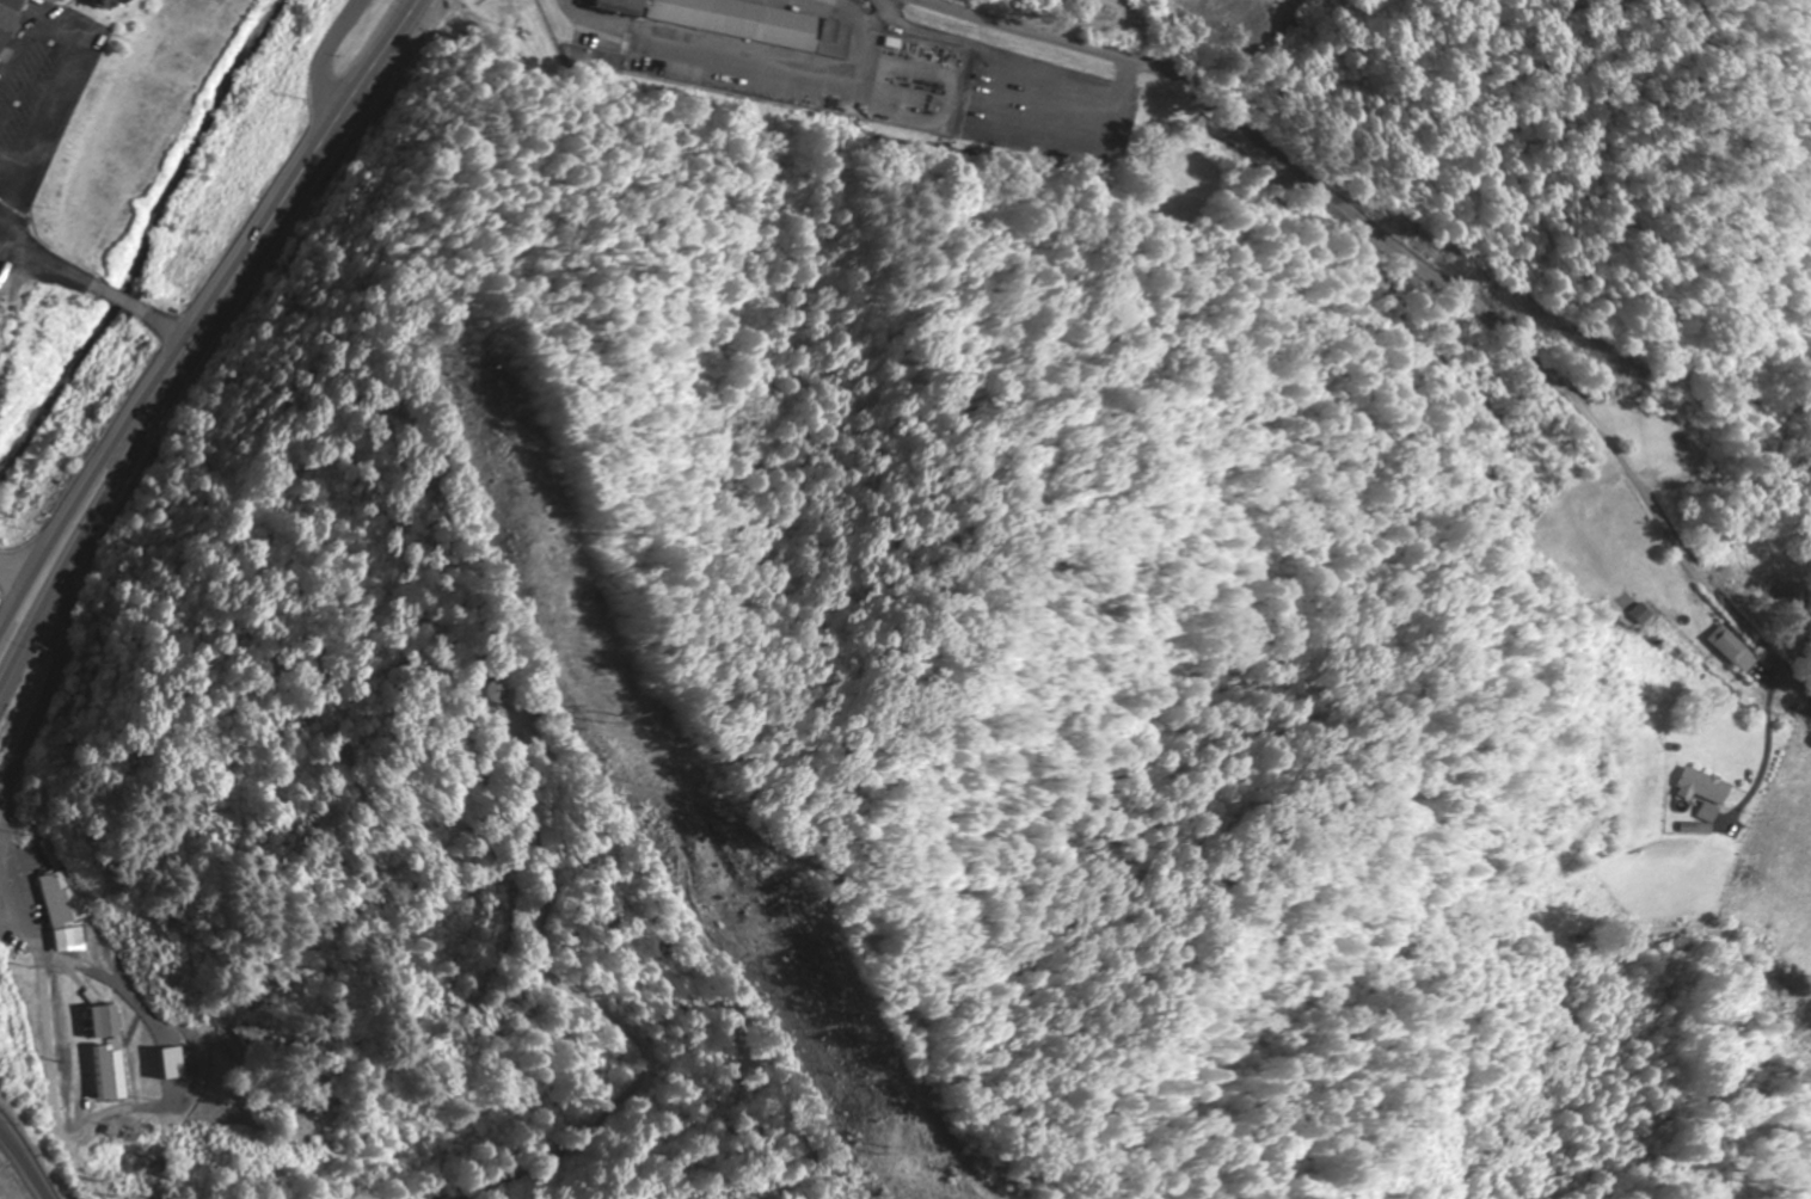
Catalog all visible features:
building: (103, 5)
building: (7, 23)
building: (741, 23)
road: (1195, 54)
road: (325, 55)
road: (1419, 270)
road: (201, 326)
building: (1663, 447)
building: (1595, 524)
building: (1543, 543)
road: (19, 578)
building: (1638, 615)
building: (1730, 650)
building: (498, 691)
road: (47, 712)
building: (1702, 793)
building: (66, 892)
building: (105, 1022)
road: (49, 1028)
road: (26, 1162)

